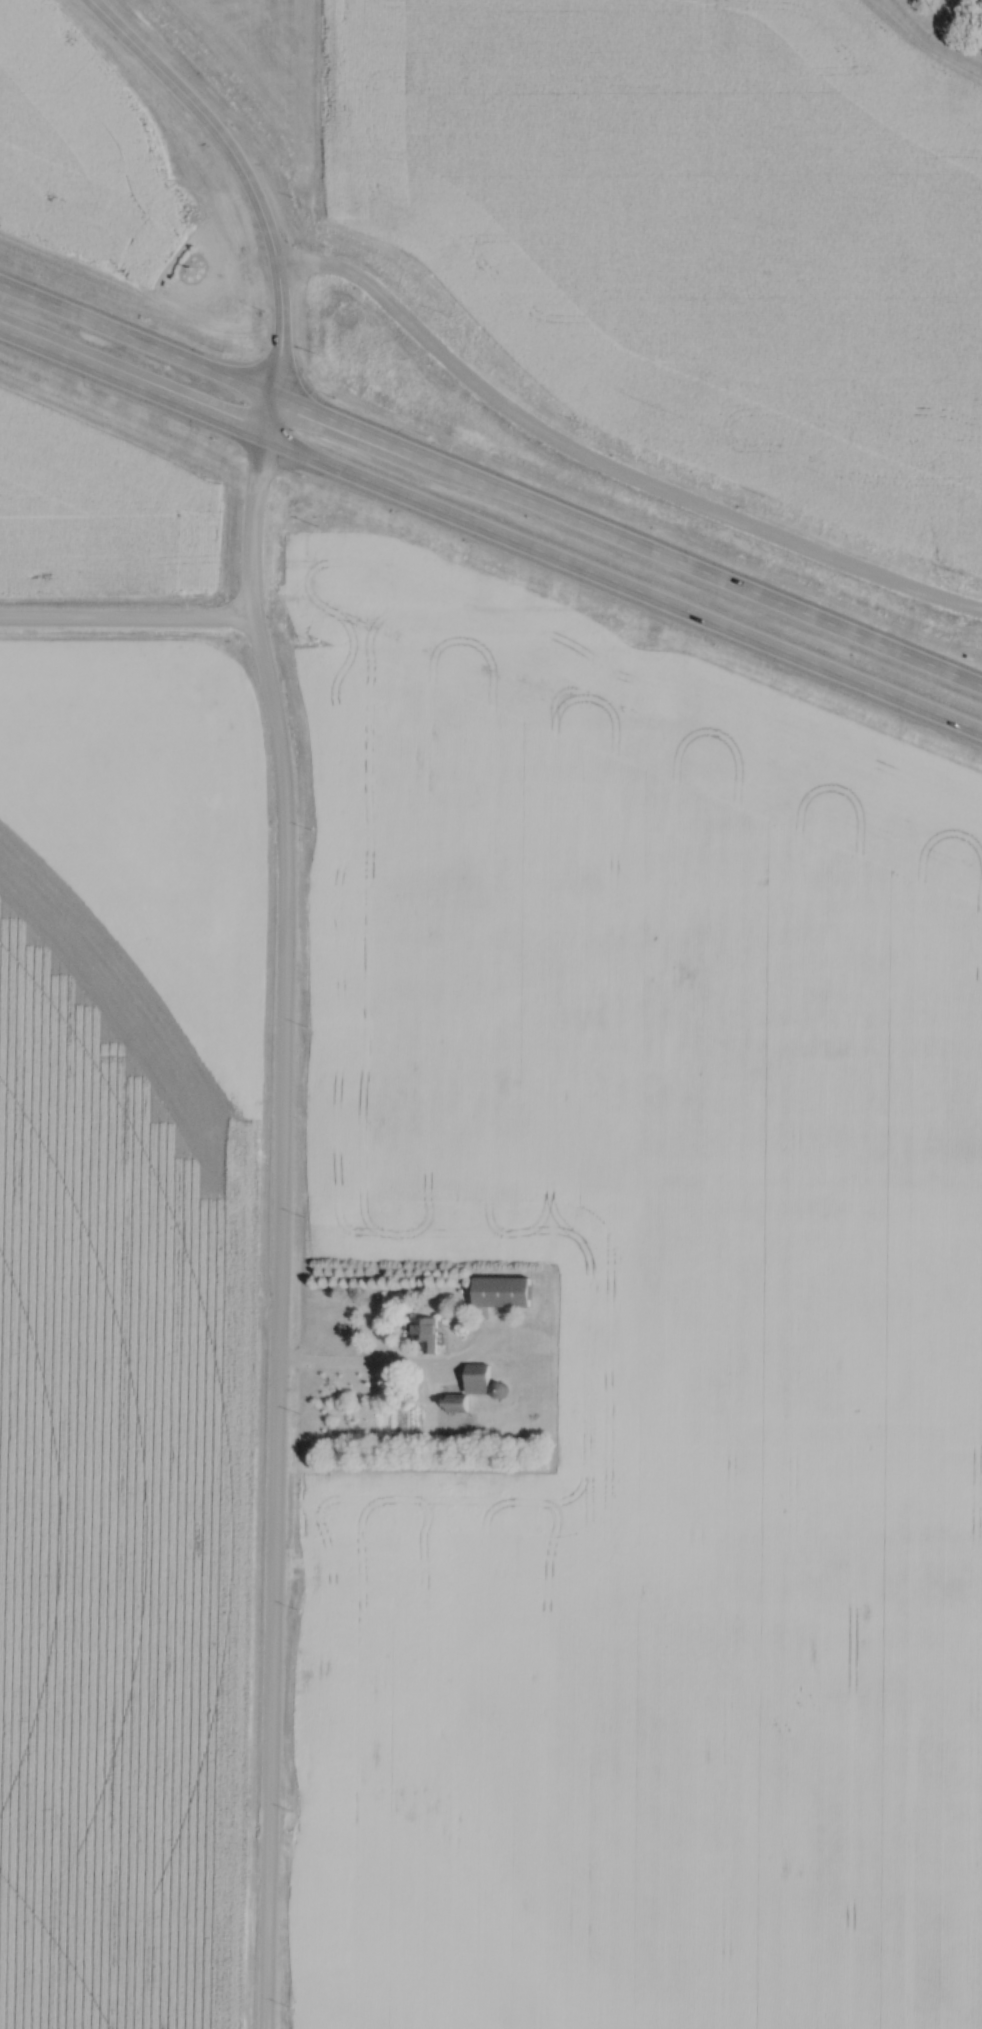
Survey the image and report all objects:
road: (246, 171)
road: (137, 338)
road: (133, 383)
road: (270, 416)
road: (609, 464)
road: (628, 539)
road: (623, 584)
road: (129, 620)
road: (281, 1231)
building: (504, 1293)
building: (426, 1332)
road: (382, 1362)
building: (479, 1380)
building: (457, 1406)

